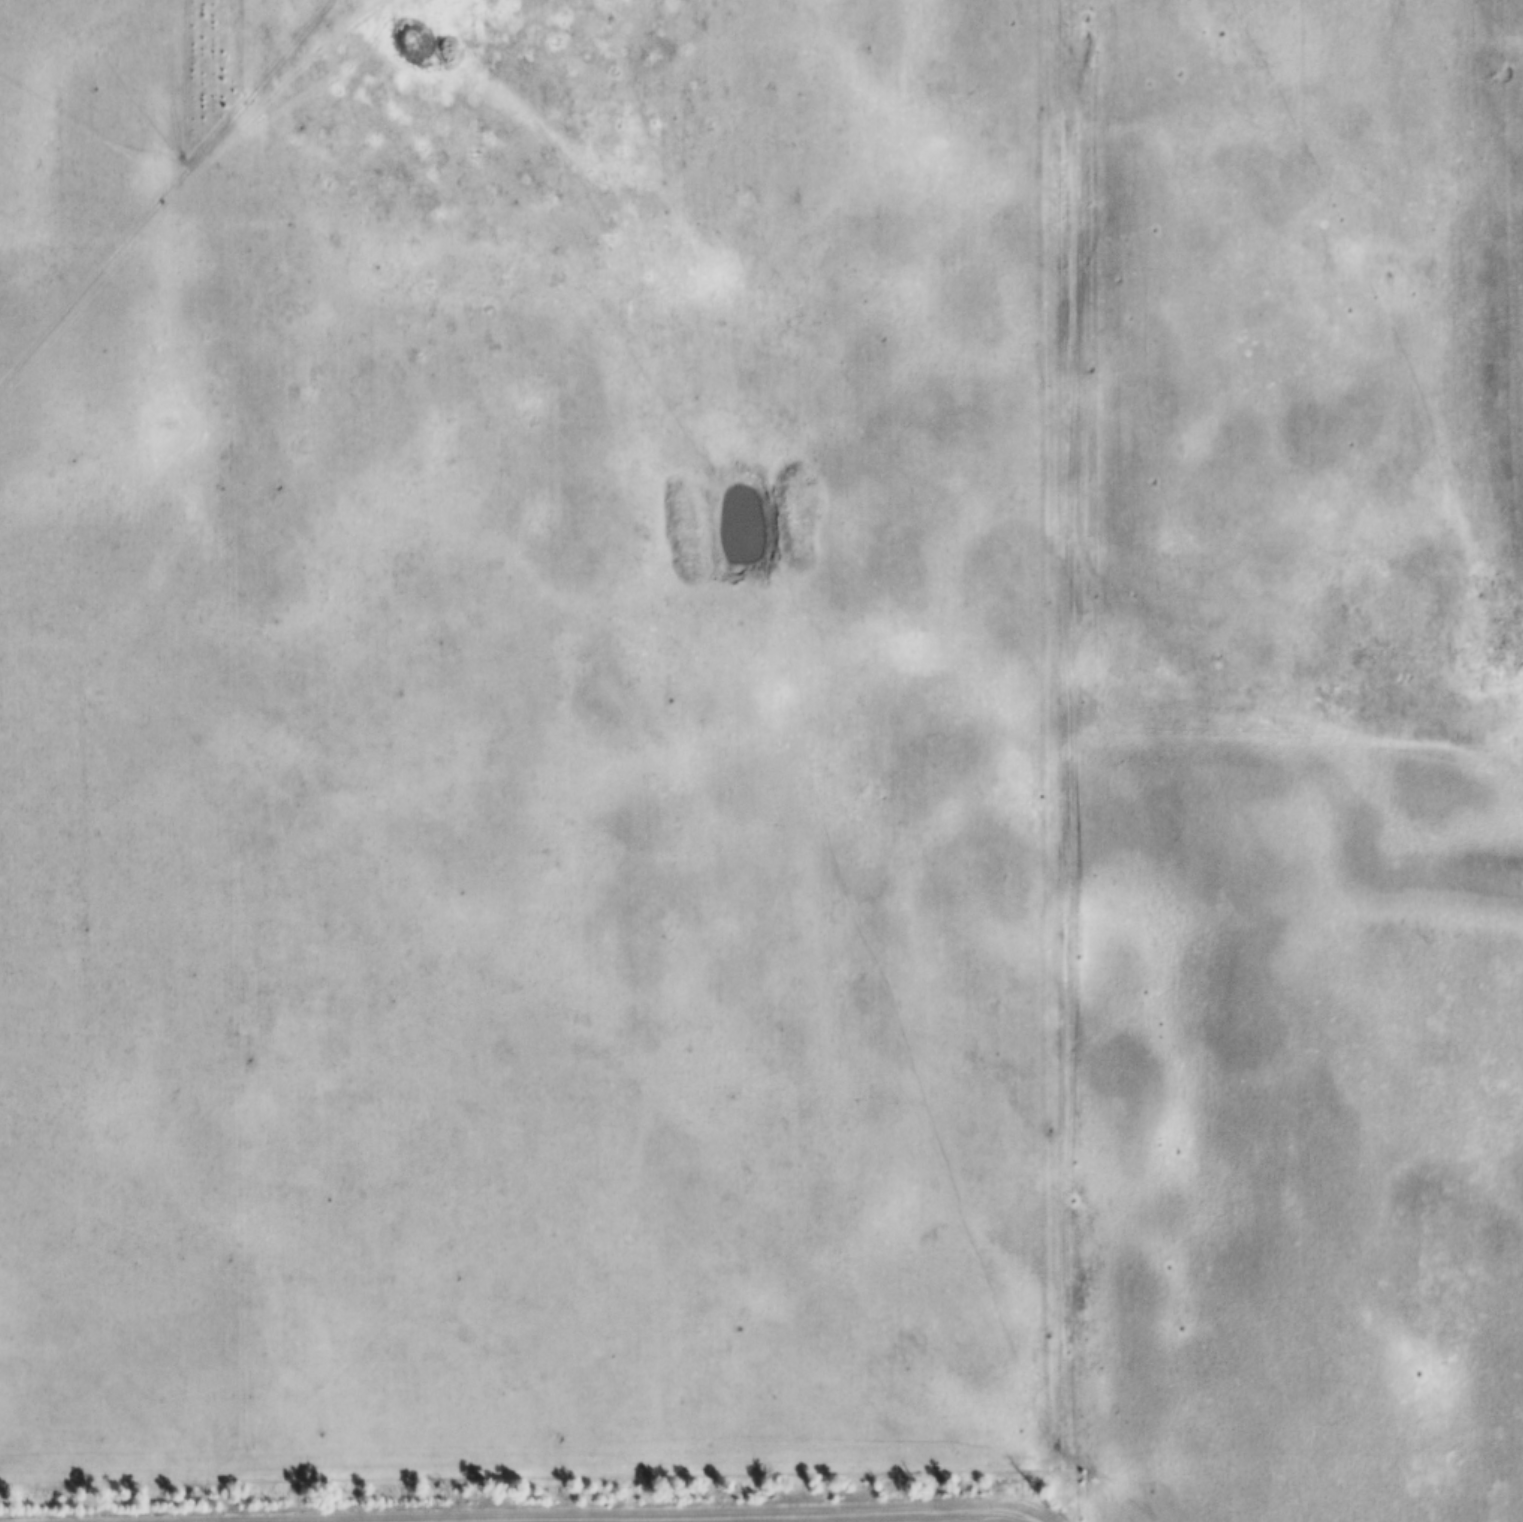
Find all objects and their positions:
road: (1073, 760)

